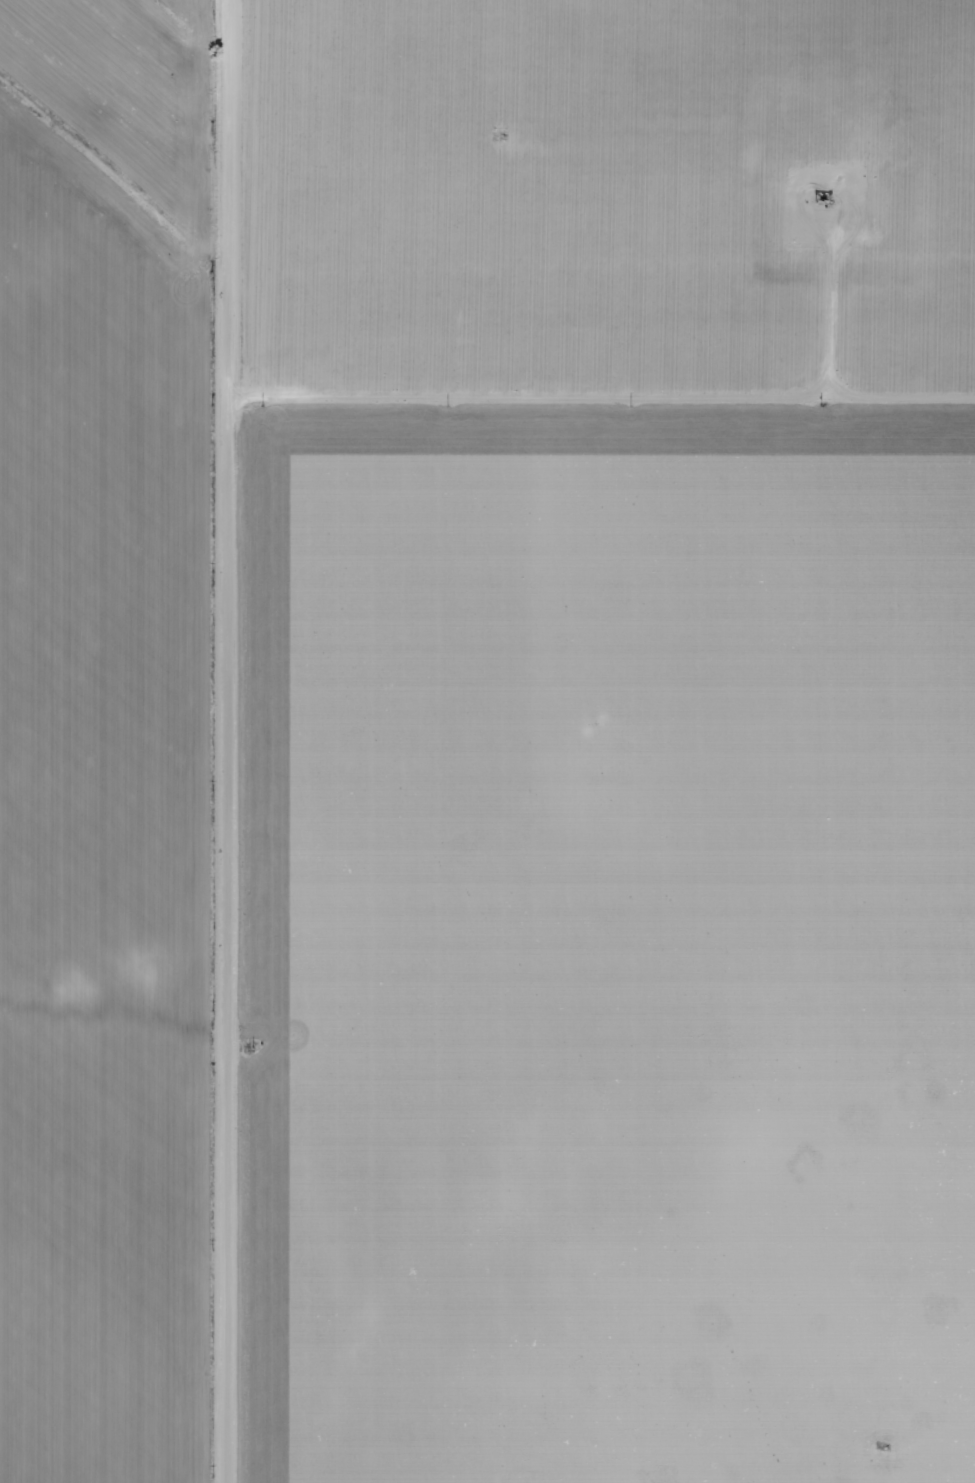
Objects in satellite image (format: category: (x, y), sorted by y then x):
road: (232, 741)

